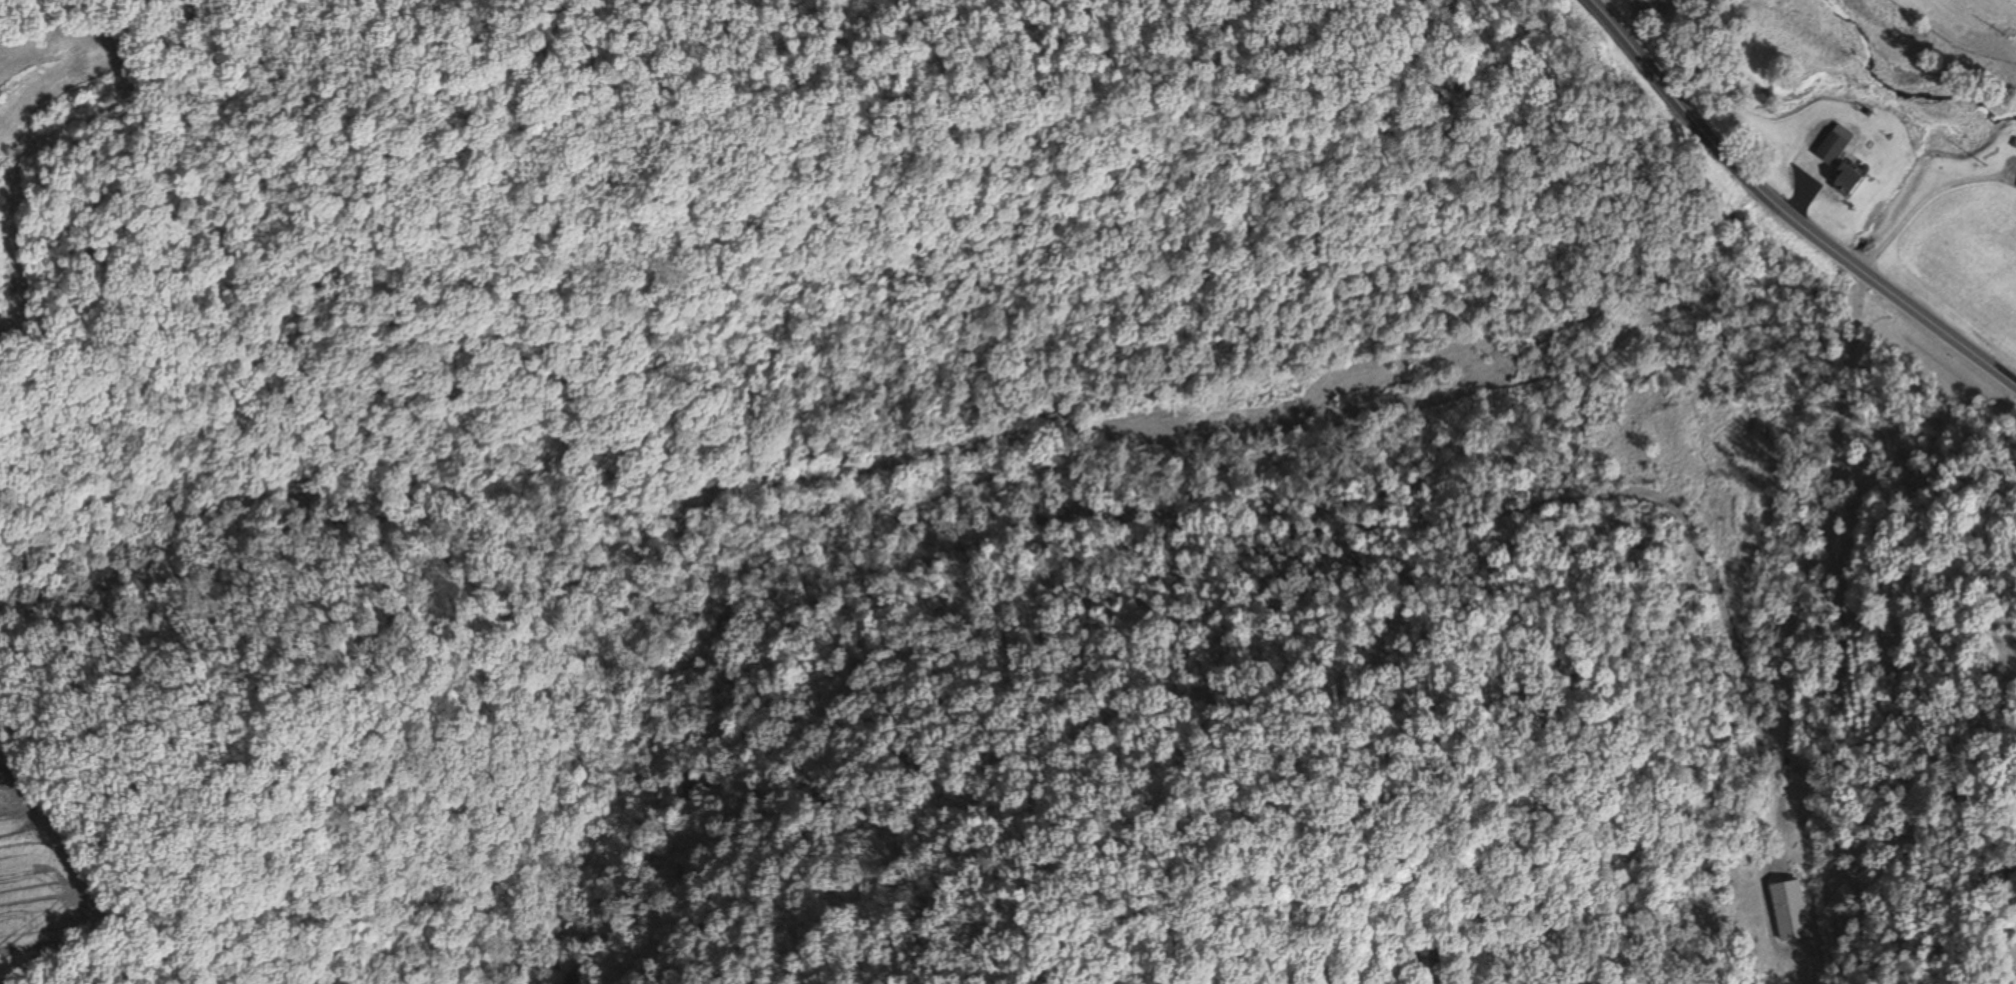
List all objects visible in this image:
building: (1832, 145)
building: (1842, 181)
road: (1918, 205)
road: (1784, 215)
building: (1792, 910)

